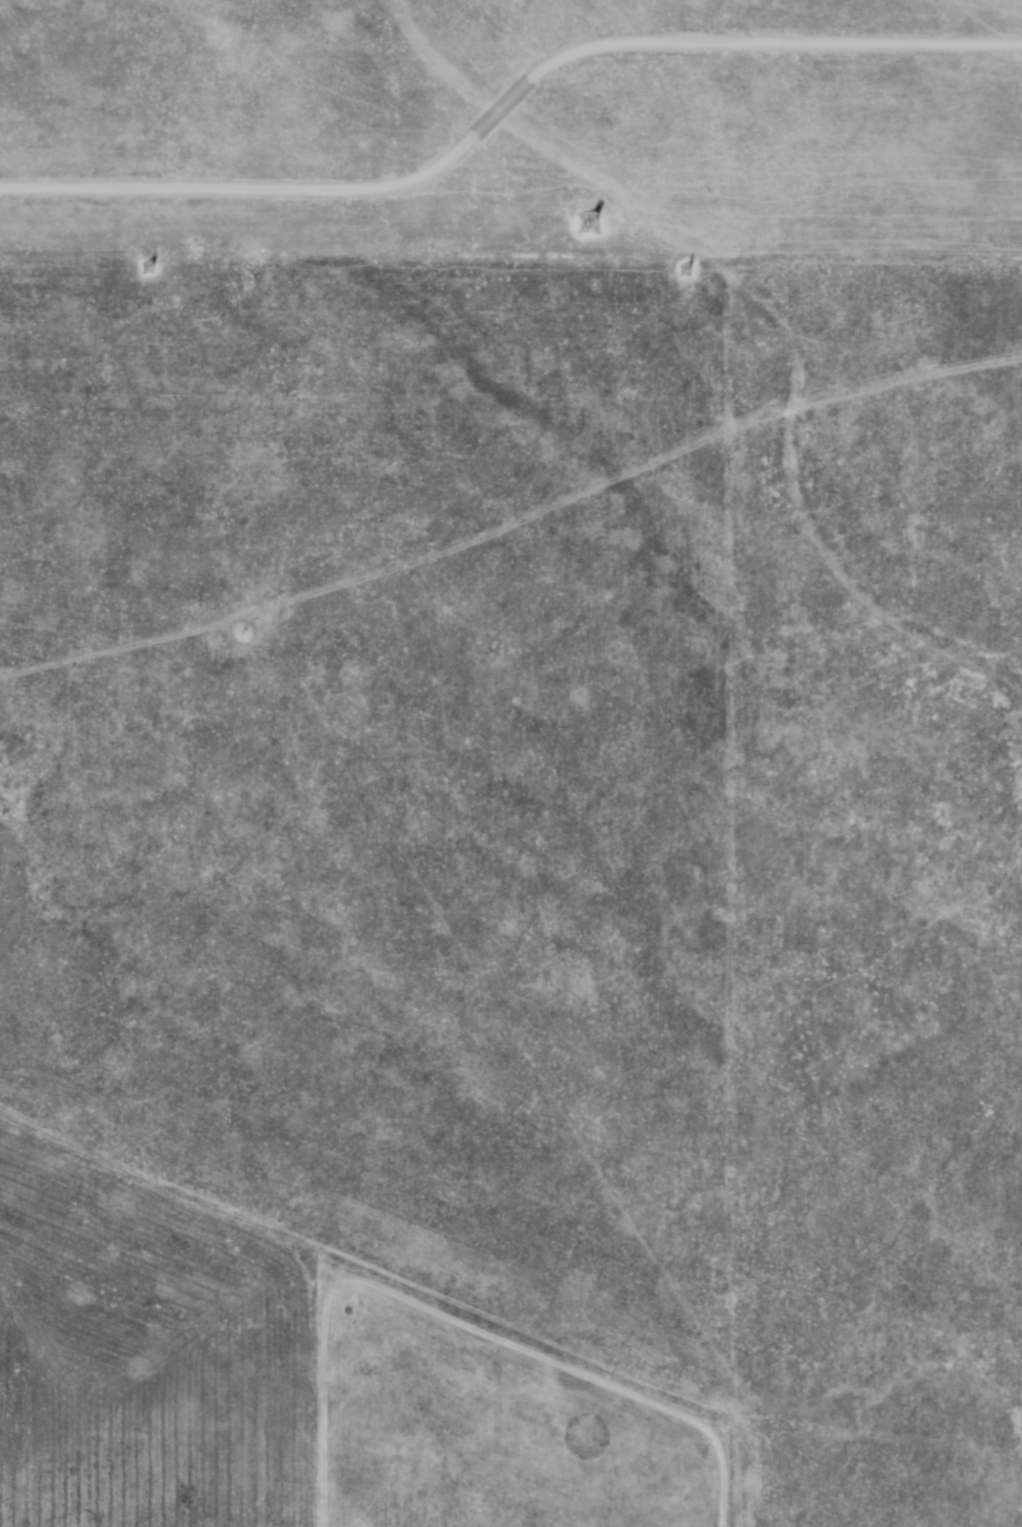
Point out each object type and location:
solar farm: (513, 127)
power tower: (581, 223)
power tower: (146, 269)
power tower: (689, 275)

